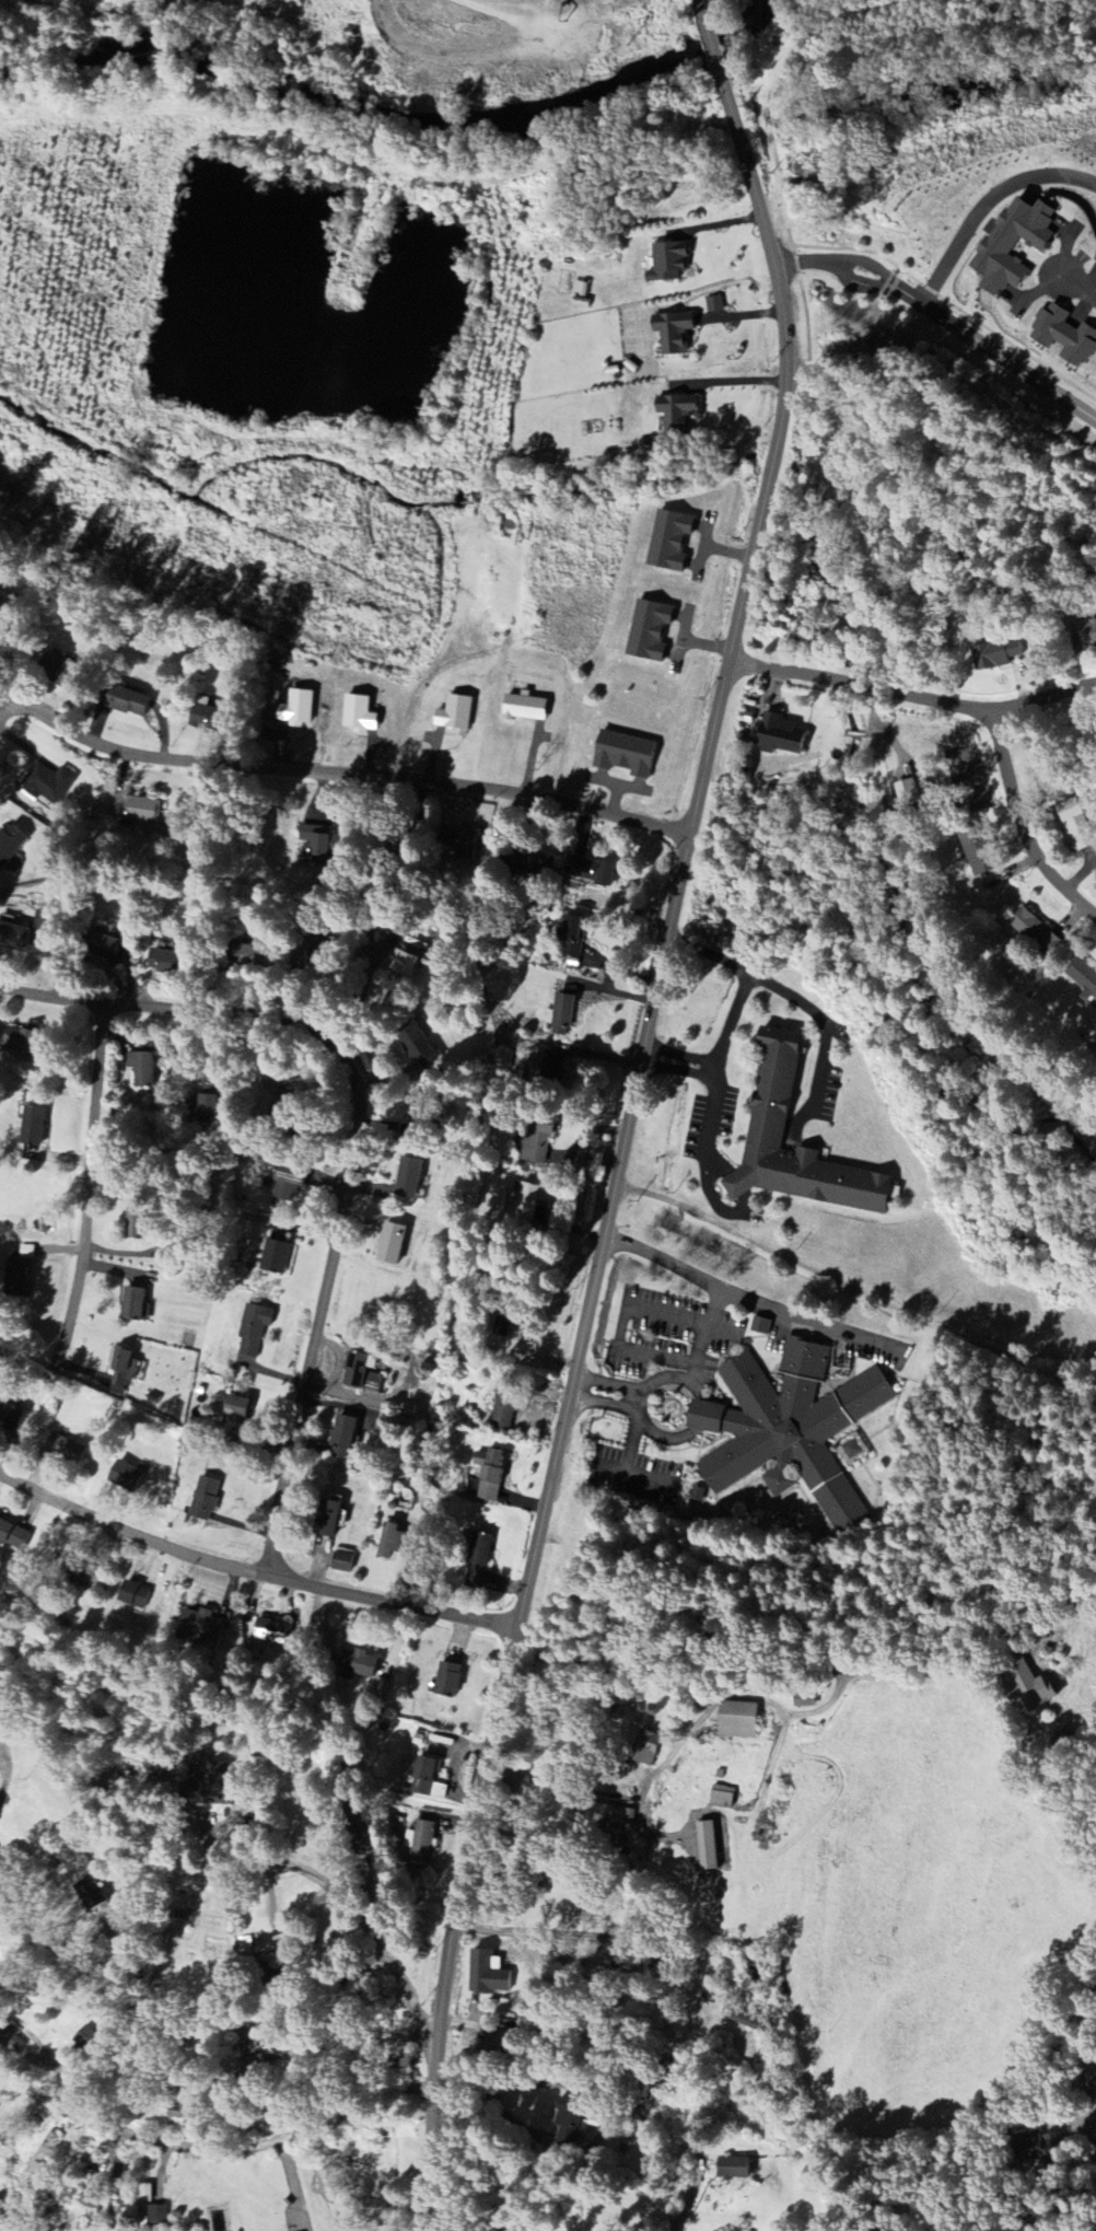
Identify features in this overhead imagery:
road: (981, 202)
building: (1010, 245)
building: (1094, 260)
building: (665, 263)
road: (832, 266)
road: (1080, 288)
road: (901, 297)
building: (712, 305)
building: (671, 333)
building: (1061, 337)
road: (1004, 363)
building: (1095, 383)
building: (674, 415)
road: (934, 503)
building: (667, 542)
building: (646, 630)
building: (1083, 635)
building: (996, 655)
road: (912, 696)
building: (129, 702)
building: (294, 707)
building: (522, 707)
building: (452, 714)
building: (357, 716)
road: (9, 717)
building: (776, 735)
building: (621, 754)
road: (339, 776)
building: (48, 785)
building: (136, 810)
building: (1074, 825)
road: (1022, 826)
building: (463, 841)
building: (12, 845)
building: (315, 845)
building: (973, 851)
building: (526, 863)
building: (588, 871)
building: (26, 932)
building: (1033, 932)
building: (570, 937)
building: (110, 950)
building: (255, 957)
building: (163, 962)
building: (406, 962)
building: (1081, 978)
road: (796, 1000)
building: (558, 1016)
building: (28, 1044)
building: (415, 1046)
road: (723, 1055)
building: (143, 1069)
road: (719, 1069)
building: (549, 1070)
building: (773, 1095)
road: (629, 1112)
road: (708, 1126)
building: (36, 1127)
road: (357, 1144)
building: (535, 1144)
road: (720, 1157)
road: (144, 1172)
building: (406, 1178)
road: (737, 1183)
building: (283, 1185)
road: (88, 1193)
building: (524, 1204)
building: (388, 1244)
building: (27, 1253)
building: (271, 1257)
building: (21, 1281)
road: (853, 1287)
road: (753, 1299)
road: (625, 1303)
building: (137, 1305)
building: (760, 1324)
building: (250, 1329)
building: (500, 1329)
road: (704, 1335)
building: (125, 1371)
building: (358, 1374)
road: (609, 1383)
road: (640, 1399)
road: (604, 1405)
building: (500, 1415)
road: (701, 1415)
building: (13, 1418)
building: (231, 1419)
building: (788, 1426)
building: (341, 1438)
road: (631, 1441)
building: (850, 1448)
building: (68, 1451)
building: (121, 1475)
building: (486, 1475)
road: (634, 1476)
building: (697, 1494)
building: (202, 1498)
building: (325, 1519)
building: (15, 1536)
building: (388, 1542)
building: (478, 1549)
building: (339, 1561)
building: (83, 1576)
road: (250, 1576)
building: (131, 1594)
building: (195, 1626)
building: (267, 1631)
building: (357, 1664)
road: (817, 1665)
building: (445, 1678)
building: (1025, 1686)
building: (801, 1701)
building: (734, 1721)
building: (645, 1750)
building: (205, 1786)
road: (2, 1791)
building: (720, 1797)
building: (611, 1836)
building: (359, 1837)
building: (422, 1840)
building: (703, 1846)
road: (338, 1889)
building: (88, 1894)
road: (520, 1909)
road: (576, 1937)
building: (281, 1941)
building: (243, 1948)
building: (486, 1974)
road: (177, 2023)
road: (381, 2035)
building: (9, 2036)
building: (395, 2061)
building: (245, 2068)
road: (503, 2084)
road: (1089, 2123)
building: (561, 2128)
building: (1036, 2148)
road: (212, 2151)
building: (730, 2168)
road: (667, 2182)
building: (144, 2194)
building: (93, 2208)
building: (156, 2216)

